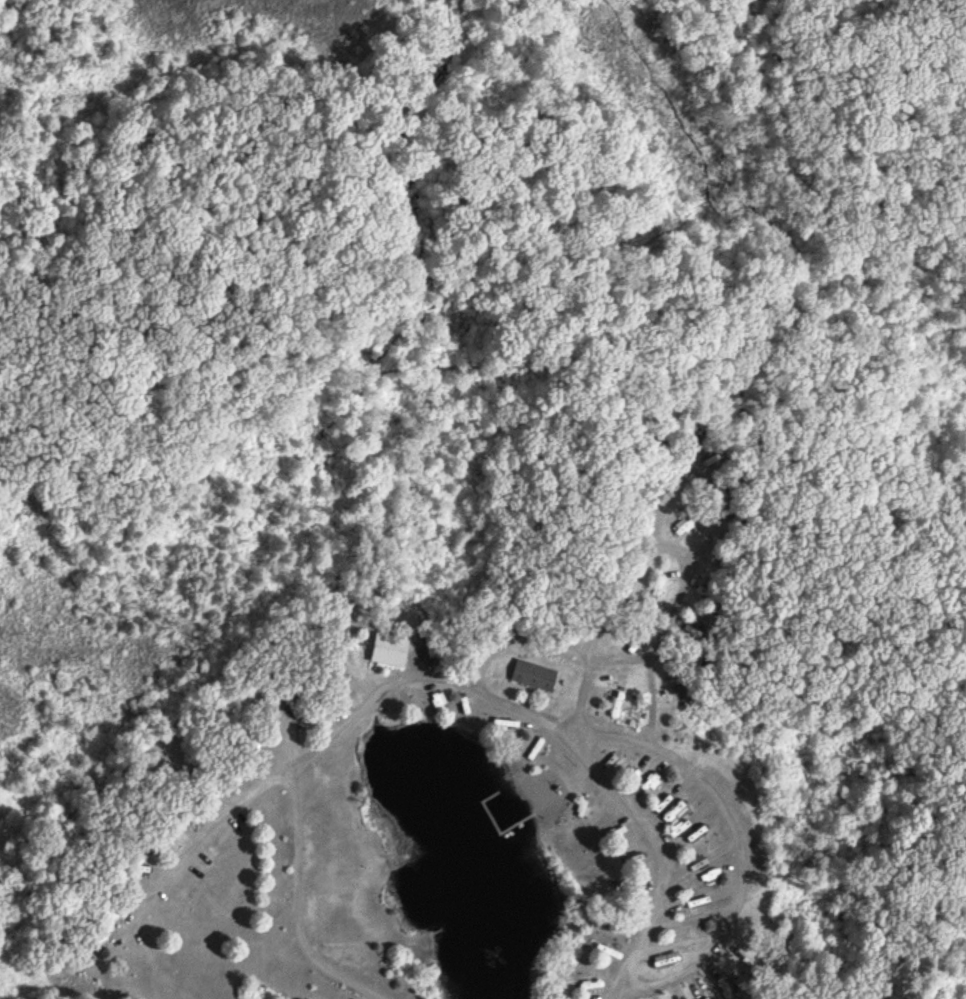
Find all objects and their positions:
park: (640, 197)
road: (716, 494)
building: (686, 526)
road: (672, 548)
building: (712, 598)
road: (555, 642)
building: (535, 676)
road: (460, 688)
building: (295, 708)
building: (655, 778)
building: (671, 801)
building: (690, 822)
building: (618, 834)
road: (736, 840)
road: (291, 904)
building: (109, 911)

